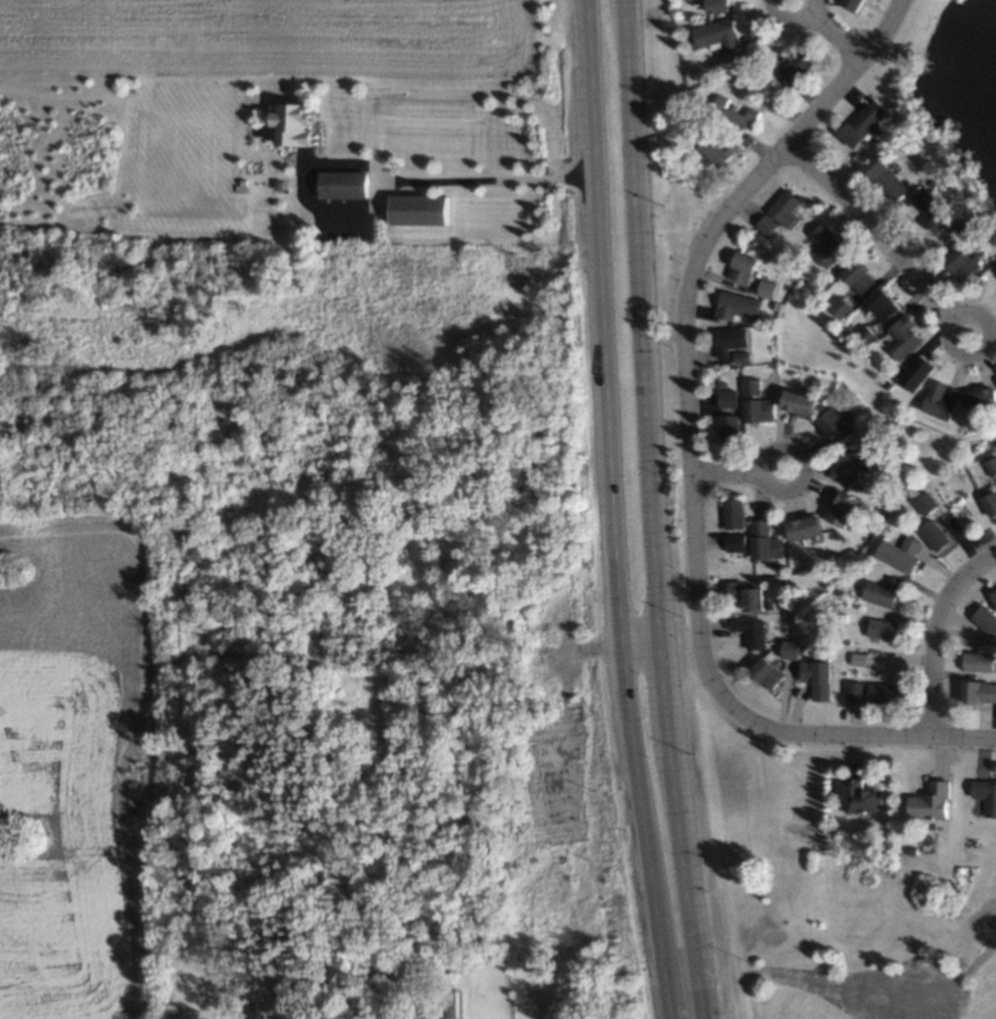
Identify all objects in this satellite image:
building: (848, 3)
building: (715, 5)
road: (830, 29)
building: (715, 34)
building: (794, 64)
building: (737, 71)
building: (725, 111)
building: (292, 123)
building: (857, 124)
building: (687, 142)
building: (715, 147)
road: (378, 167)
building: (884, 173)
building: (942, 173)
building: (932, 180)
building: (343, 183)
building: (928, 206)
building: (420, 210)
building: (780, 211)
building: (966, 220)
road: (881, 233)
building: (825, 243)
building: (959, 259)
building: (740, 265)
building: (990, 270)
building: (856, 275)
building: (762, 286)
building: (877, 302)
building: (839, 304)
building: (734, 305)
building: (825, 309)
building: (862, 333)
building: (899, 335)
building: (726, 338)
building: (741, 354)
building: (889, 360)
building: (911, 370)
building: (995, 379)
building: (748, 384)
building: (937, 395)
building: (724, 396)
building: (976, 399)
building: (796, 400)
building: (756, 408)
building: (831, 423)
building: (727, 428)
road: (691, 455)
building: (847, 463)
building: (990, 464)
building: (351, 467)
road: (737, 472)
building: (858, 481)
building: (488, 496)
building: (925, 500)
building: (988, 502)
building: (837, 505)
road: (654, 510)
road: (612, 511)
building: (731, 512)
building: (304, 525)
building: (800, 526)
building: (350, 528)
building: (930, 534)
building: (734, 539)
building: (761, 539)
building: (896, 552)
building: (877, 589)
building: (741, 596)
building: (992, 596)
building: (982, 619)
building: (174, 624)
building: (879, 627)
building: (747, 629)
road: (936, 630)
building: (789, 645)
road: (640, 651)
building: (854, 658)
building: (973, 660)
building: (210, 661)
building: (763, 670)
building: (813, 677)
building: (853, 687)
building: (879, 690)
building: (977, 690)
building: (983, 797)
building: (857, 798)
building: (927, 802)
building: (557, 805)
building: (467, 933)
building: (448, 1001)

